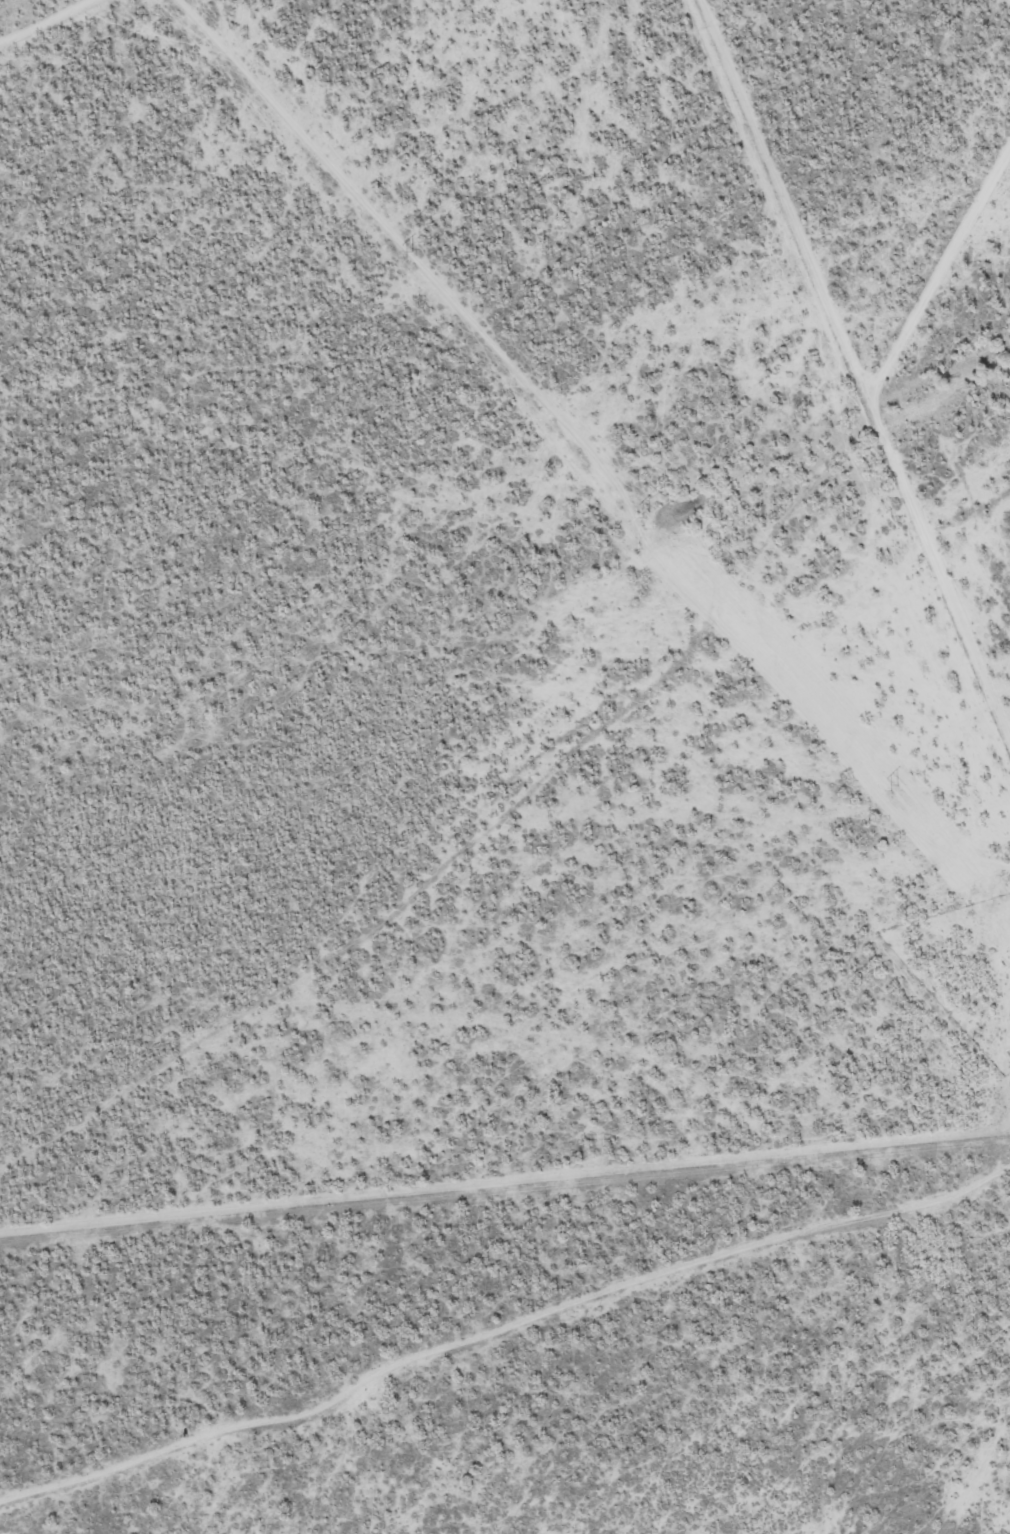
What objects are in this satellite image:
road: (44, 19)
road: (257, 83)
power tower: (406, 254)
road: (844, 500)
power tower: (645, 515)
power tower: (892, 788)
road: (161, 1219)
road: (664, 1304)
road: (158, 1449)

